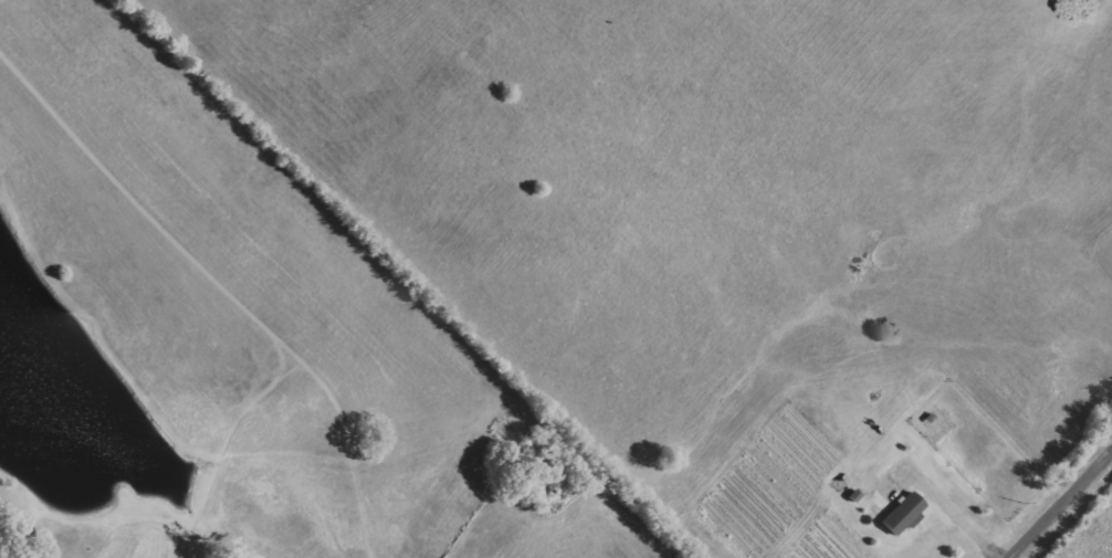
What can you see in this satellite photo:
road: (1062, 506)
road: (956, 509)
building: (905, 513)

